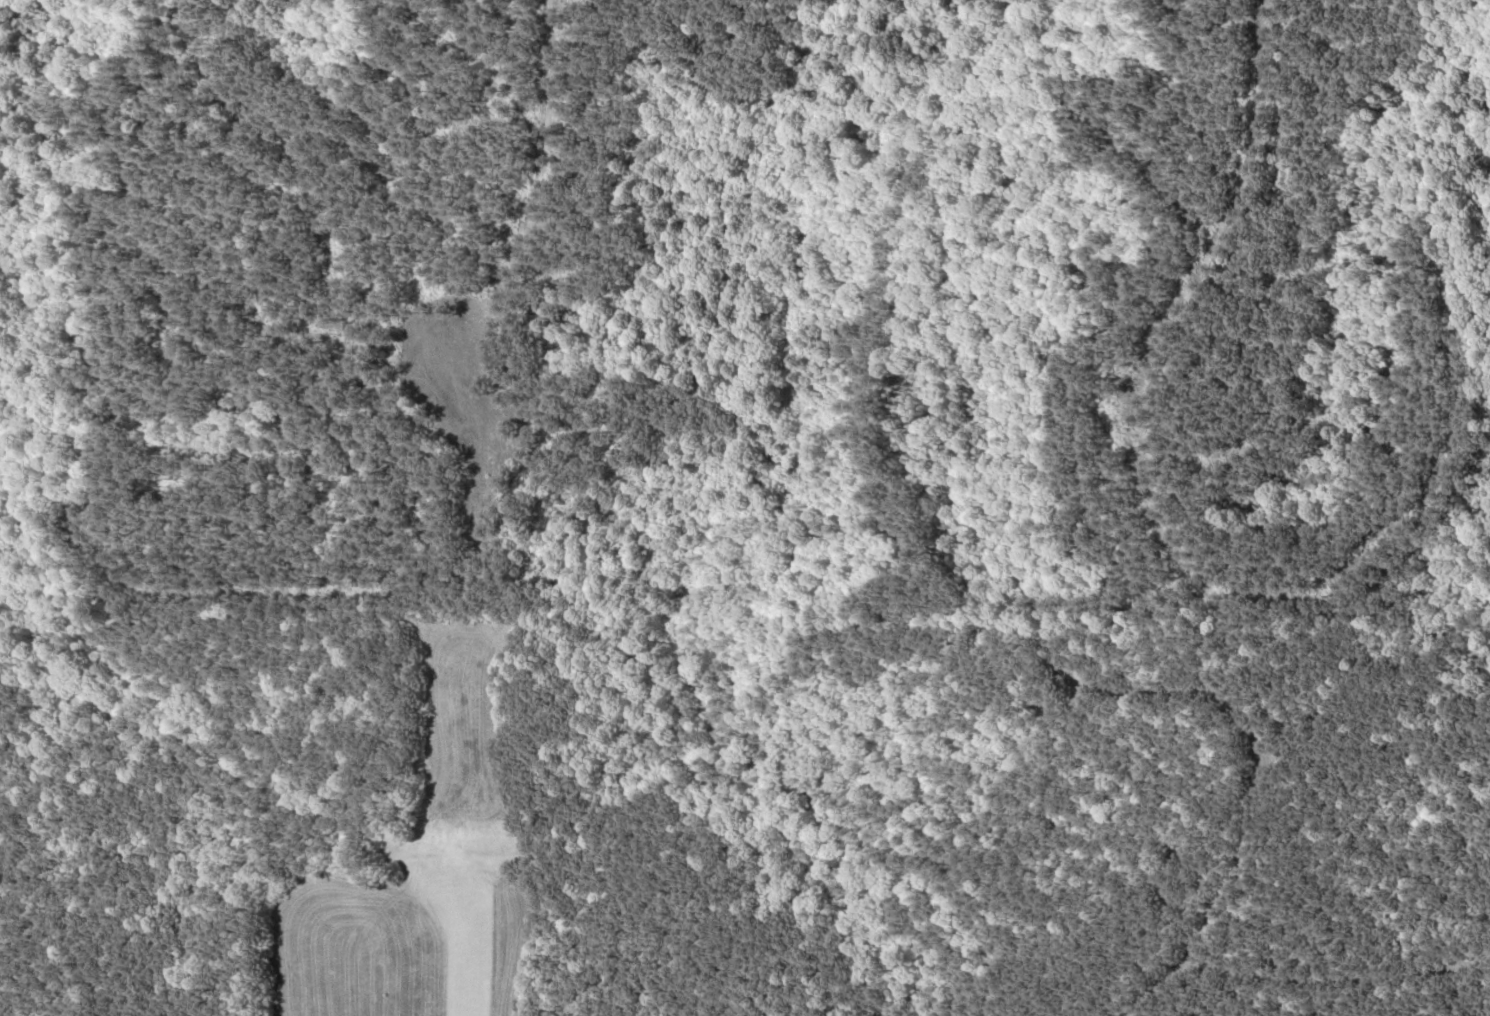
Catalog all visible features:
airport runway: (468, 919)

